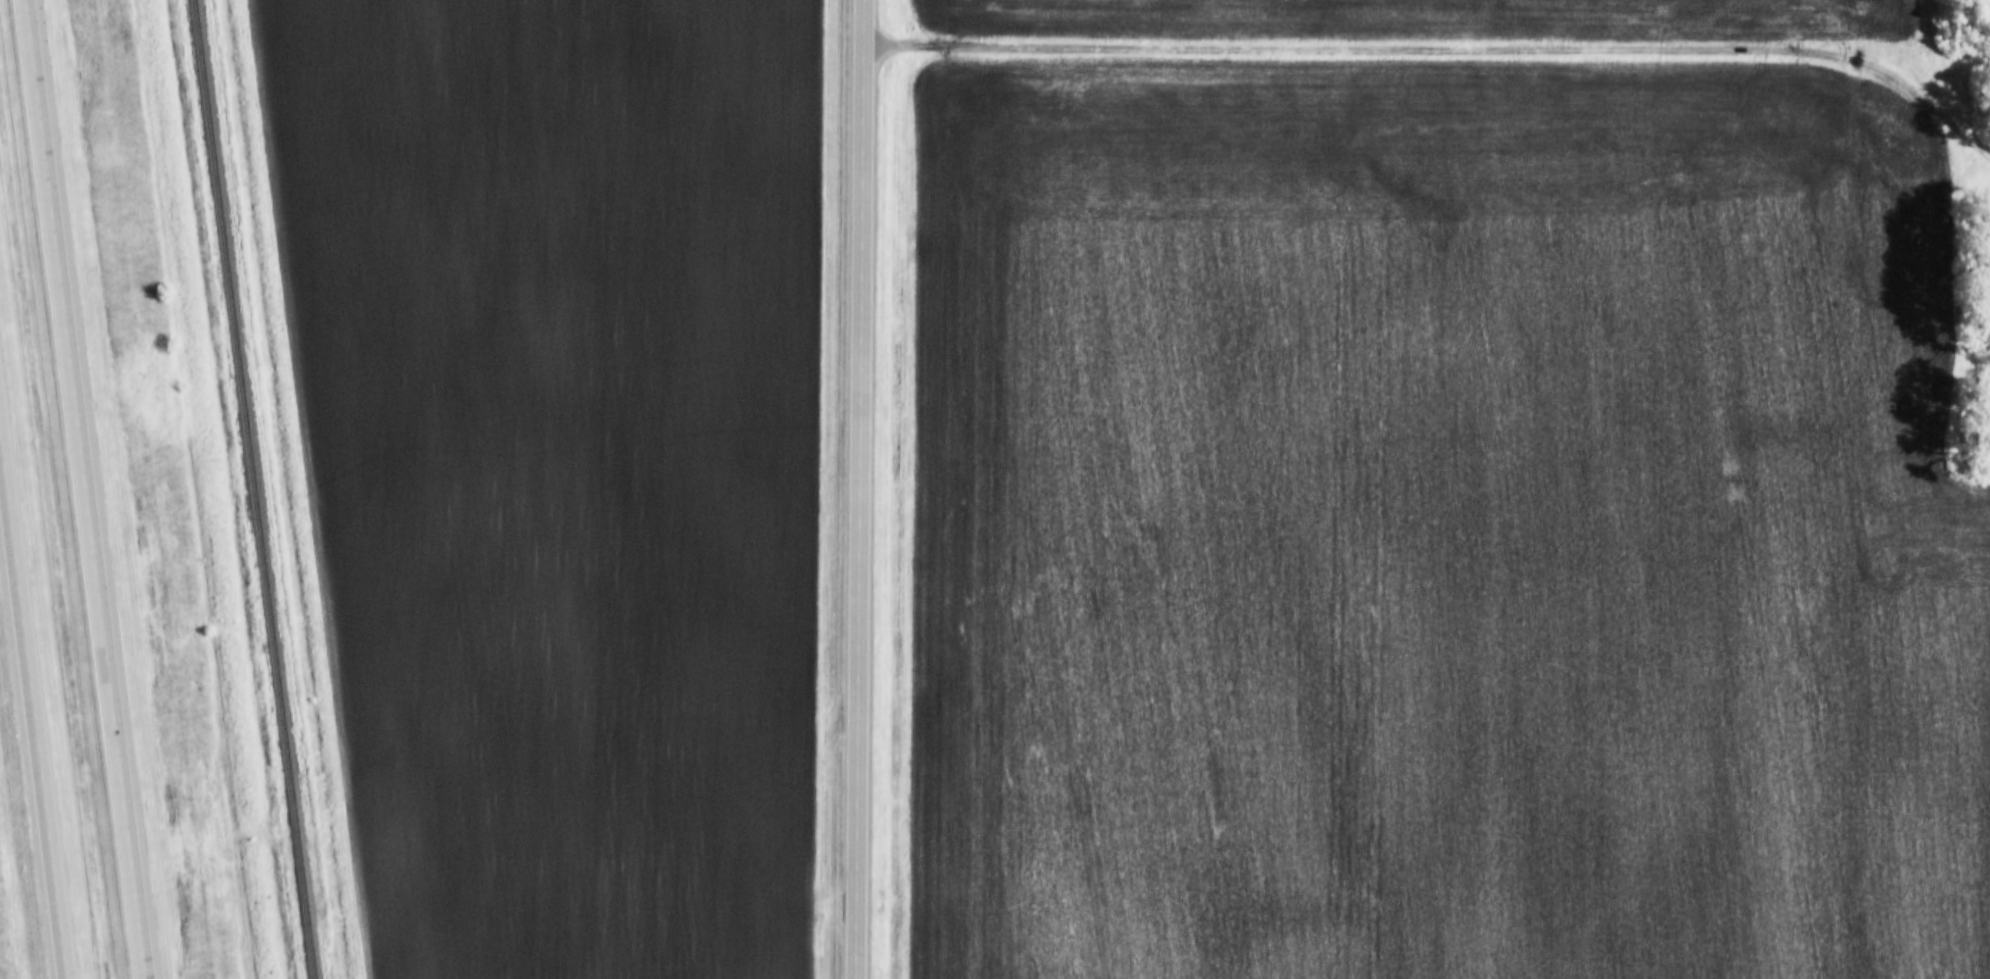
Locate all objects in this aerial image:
road: (1443, 50)
road: (84, 489)
railway: (251, 489)
road: (859, 489)
road: (32, 717)

